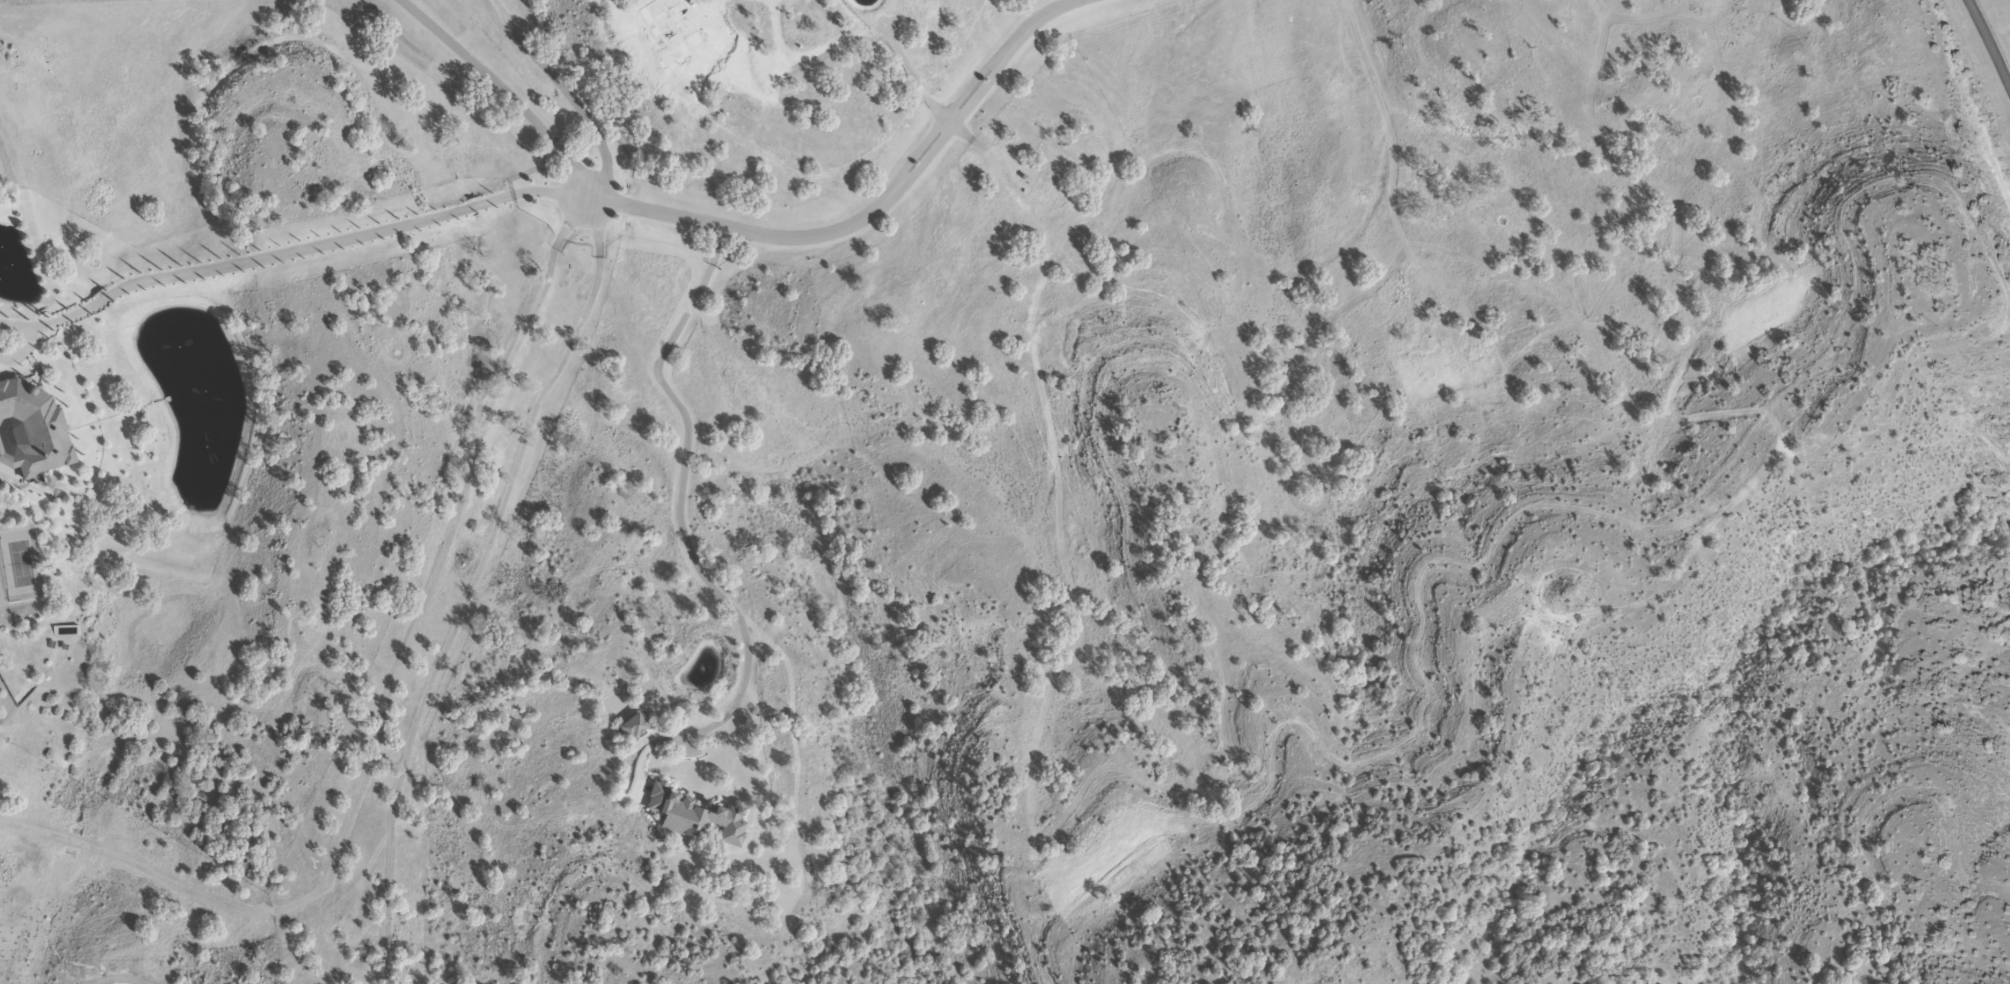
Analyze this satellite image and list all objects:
road: (1992, 41)
road: (504, 92)
road: (875, 208)
road: (304, 252)
building: (32, 433)
road: (684, 537)
building: (66, 633)
building: (636, 728)
building: (698, 817)

